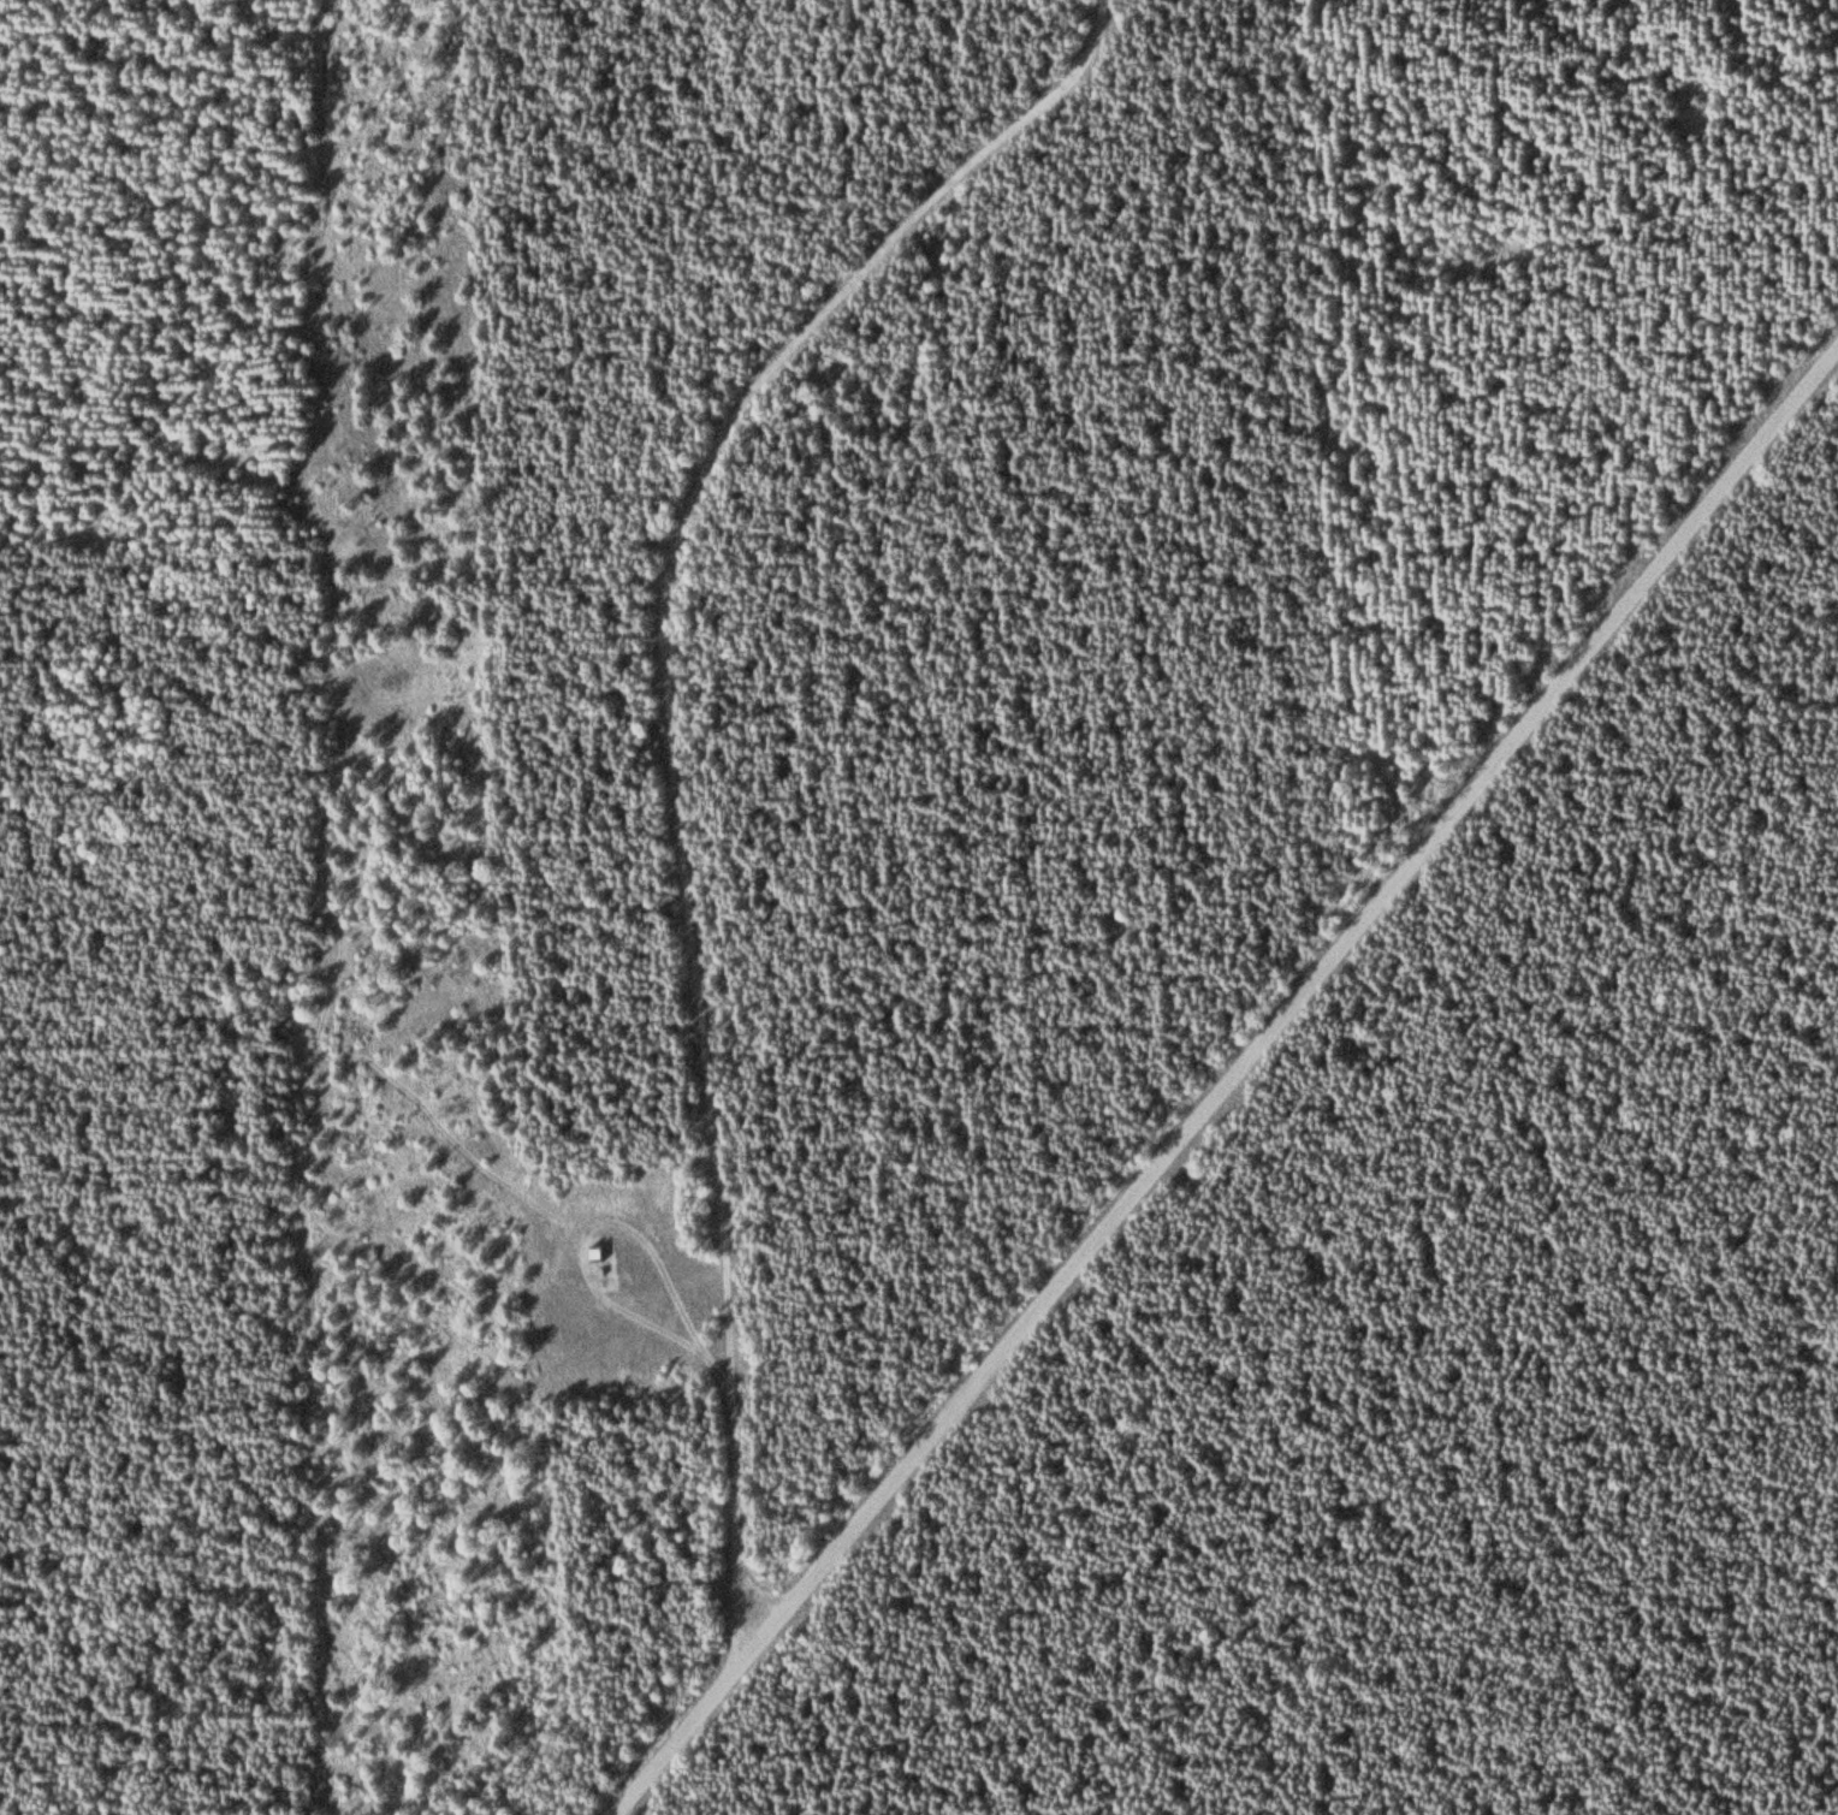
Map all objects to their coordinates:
road: (680, 752)
road: (1227, 1086)
petroleum well: (600, 1252)

